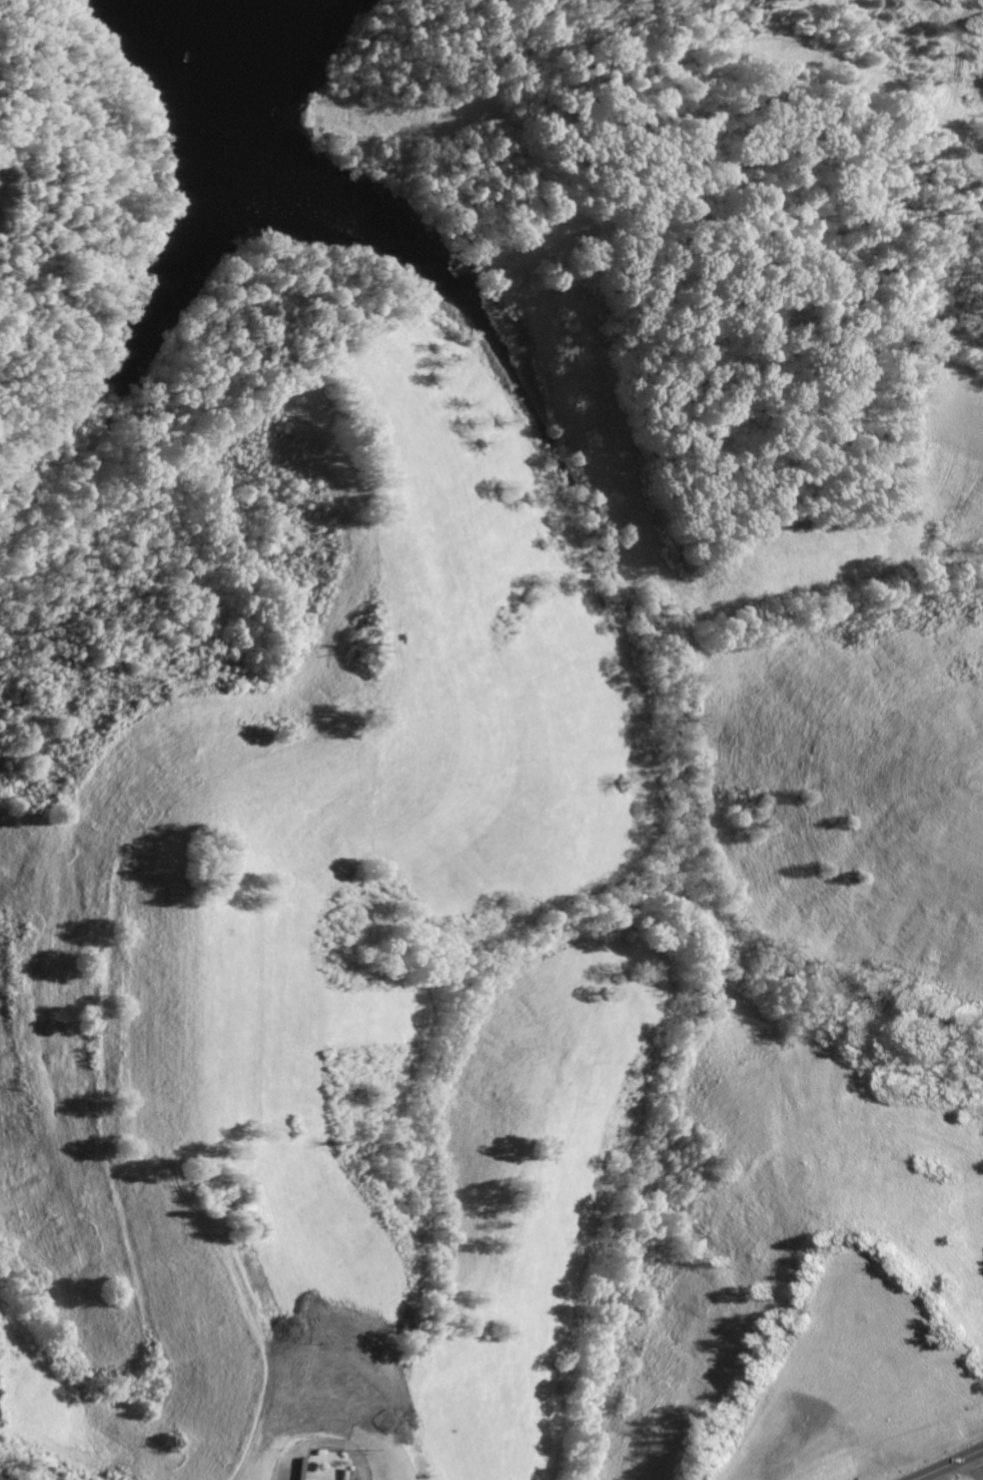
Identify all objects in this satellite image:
road: (321, 1442)
road: (950, 1465)

